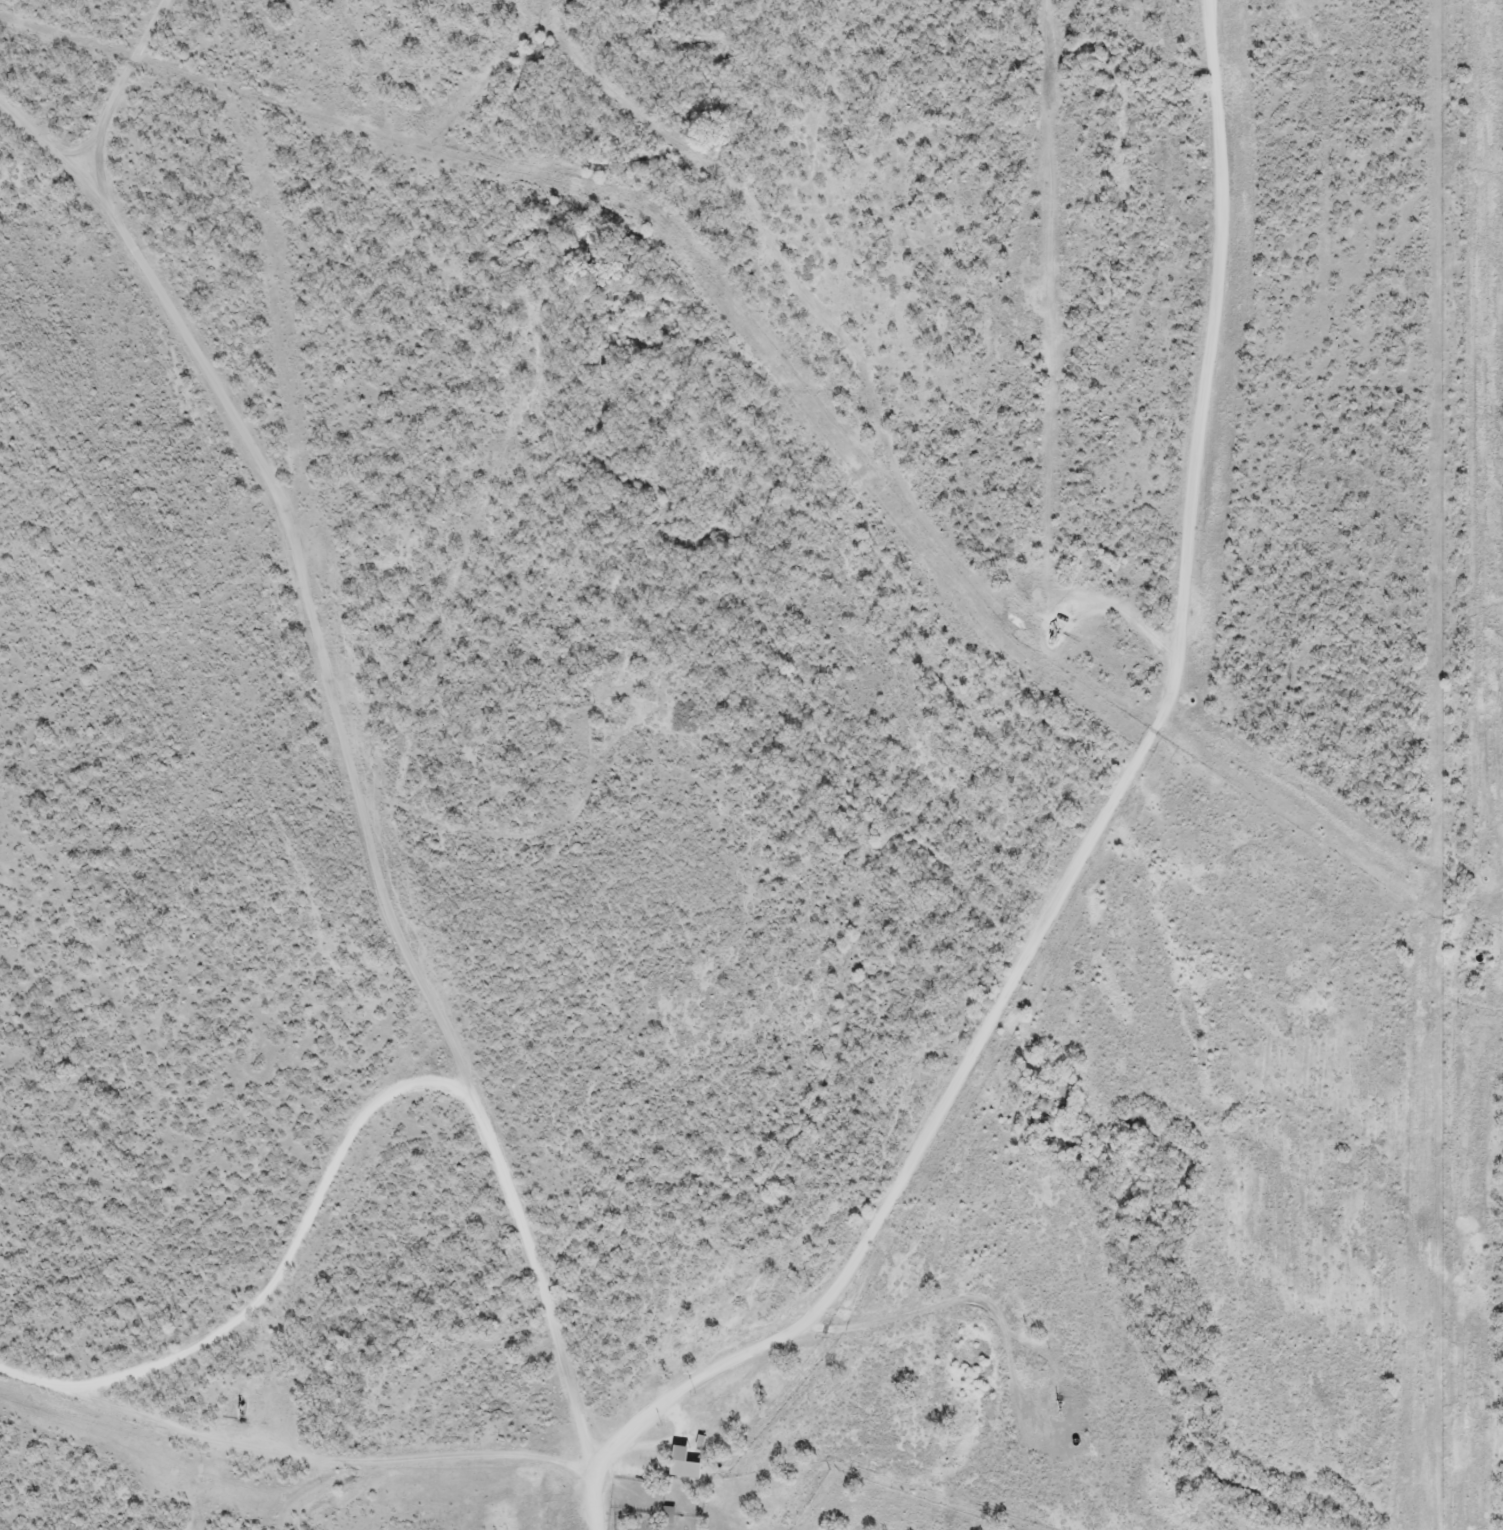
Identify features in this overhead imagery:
road: (658, 1399)
building: (701, 1453)
building: (682, 1462)
road: (596, 1502)
building: (667, 1514)

